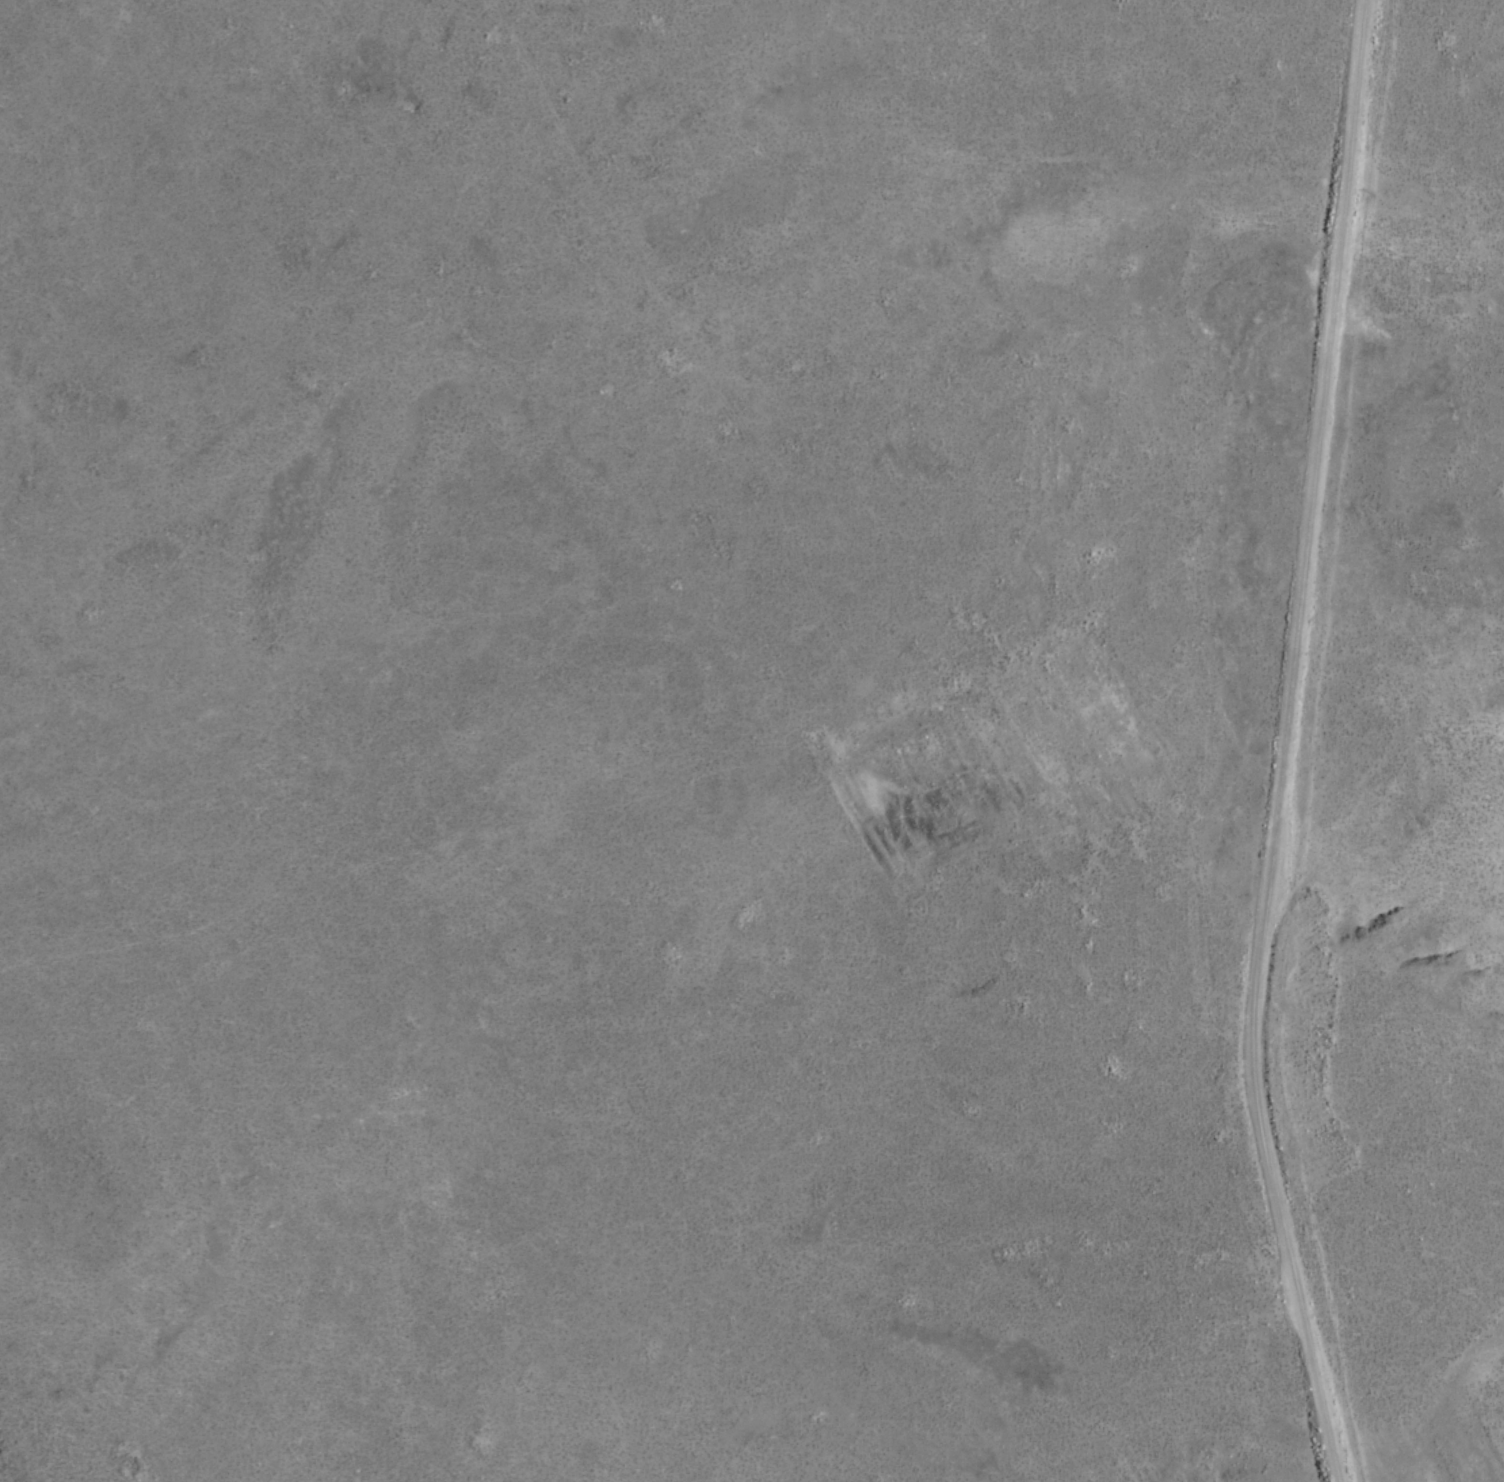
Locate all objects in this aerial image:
road: (1283, 743)

